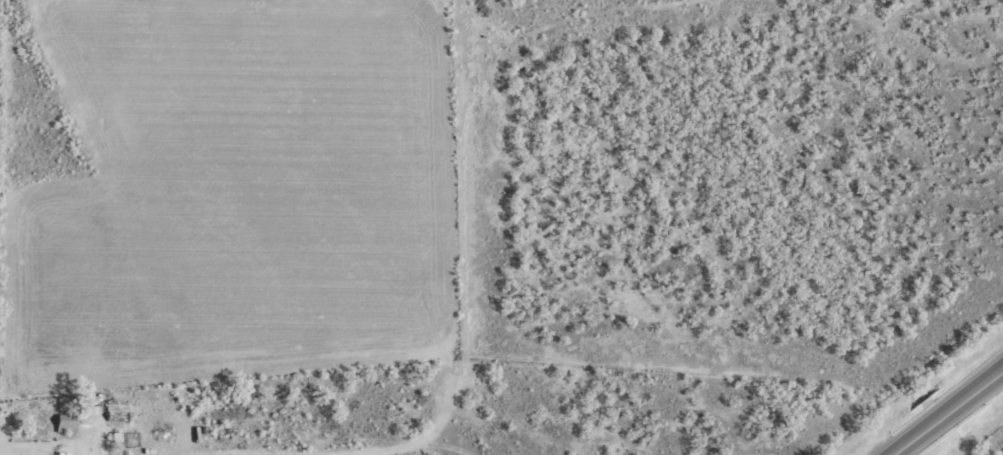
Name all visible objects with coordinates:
building: (119, 410)
road: (944, 410)
building: (67, 424)

